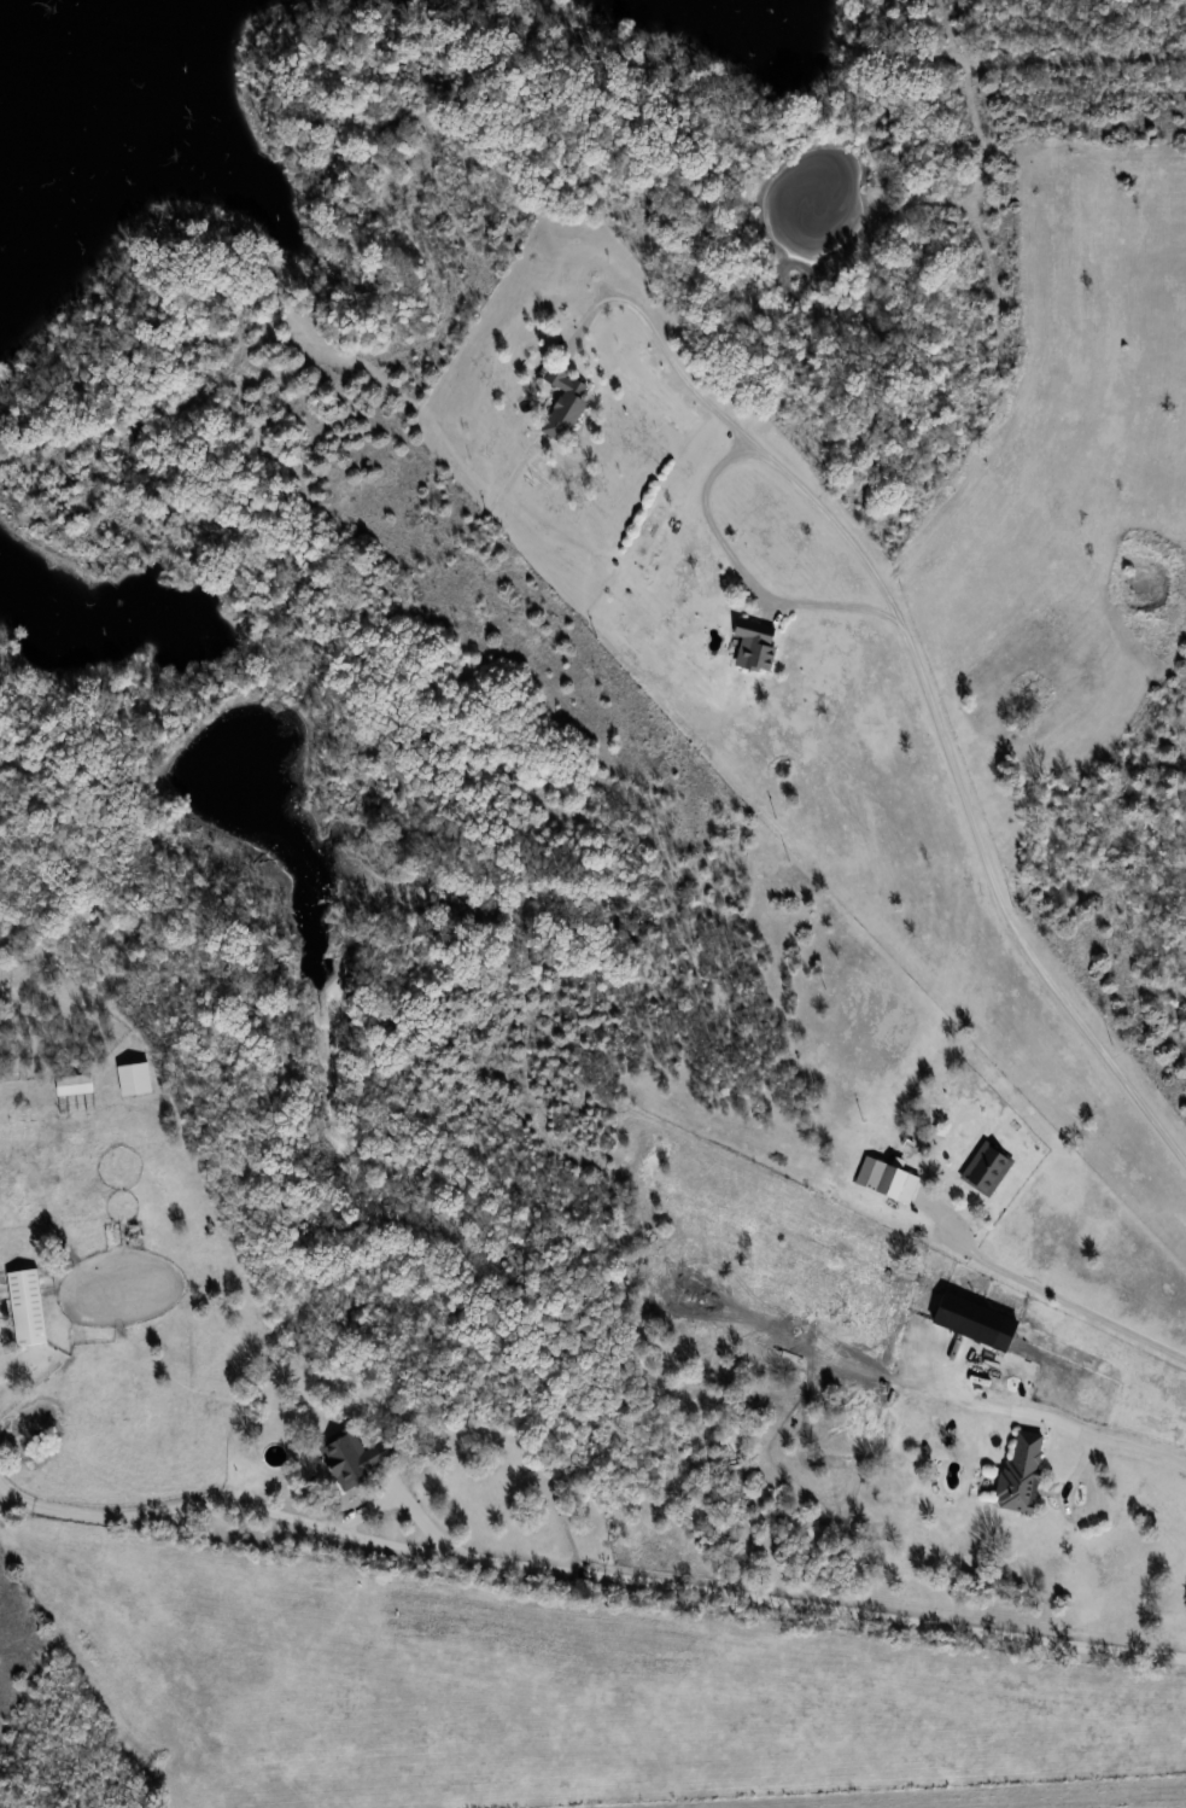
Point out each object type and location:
building: (568, 396)
road: (748, 573)
building: (758, 645)
road: (917, 671)
building: (136, 1079)
building: (75, 1085)
building: (988, 1167)
building: (878, 1174)
building: (909, 1186)
road: (1045, 1293)
building: (28, 1306)
building: (978, 1320)
road: (12, 1365)
road: (1106, 1437)
building: (352, 1457)
building: (1023, 1474)
road: (398, 1491)
road: (590, 1575)

